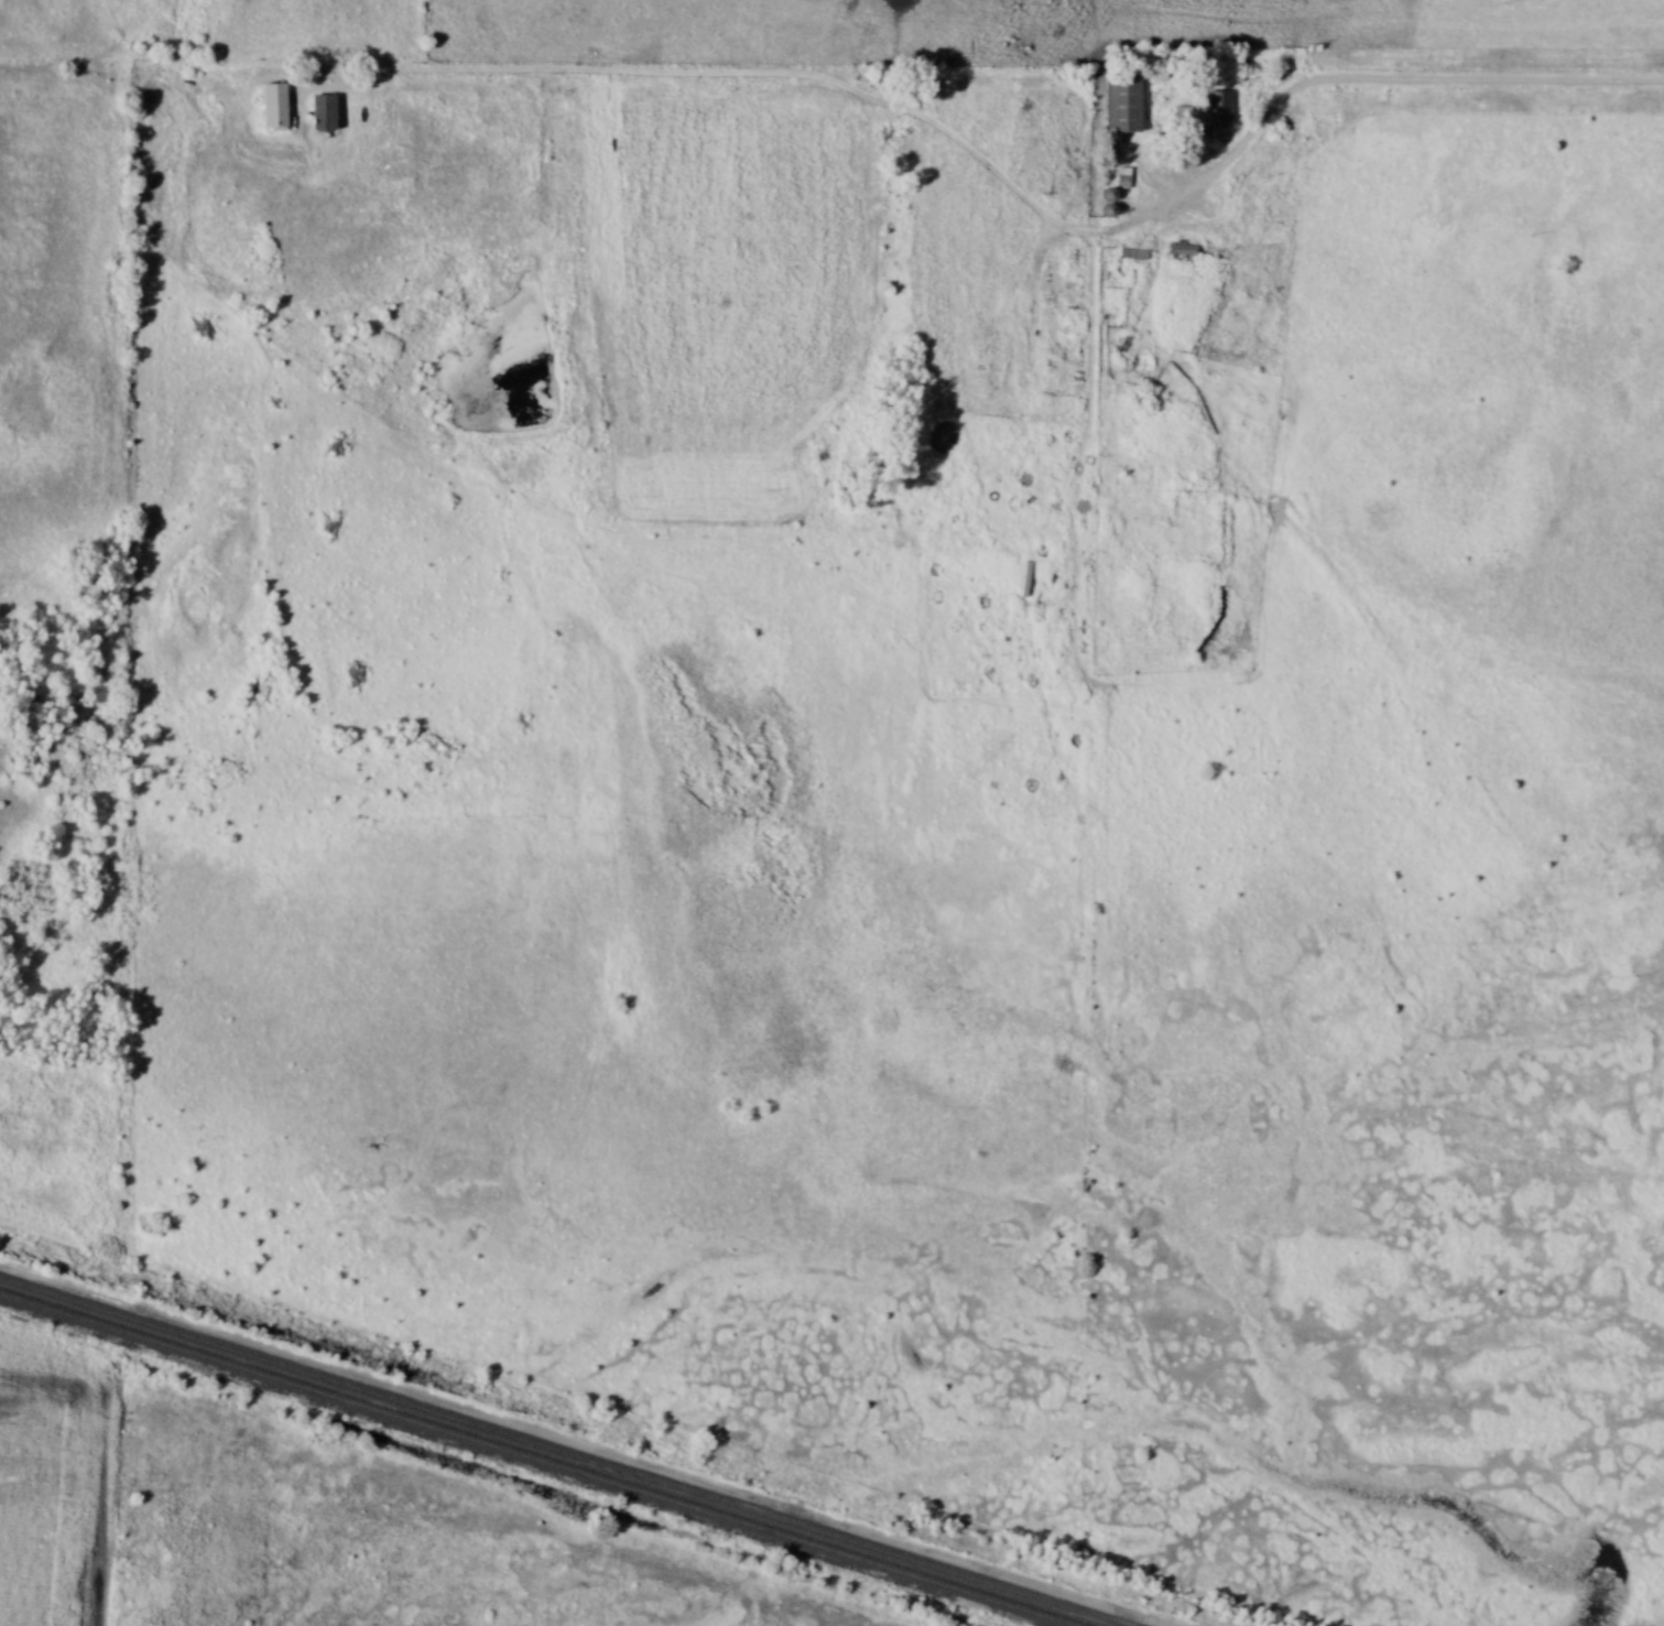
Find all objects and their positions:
road: (1405, 80)
building: (1127, 105)
building: (1208, 110)
building: (1185, 248)
railway: (565, 1450)
railway: (544, 1456)

